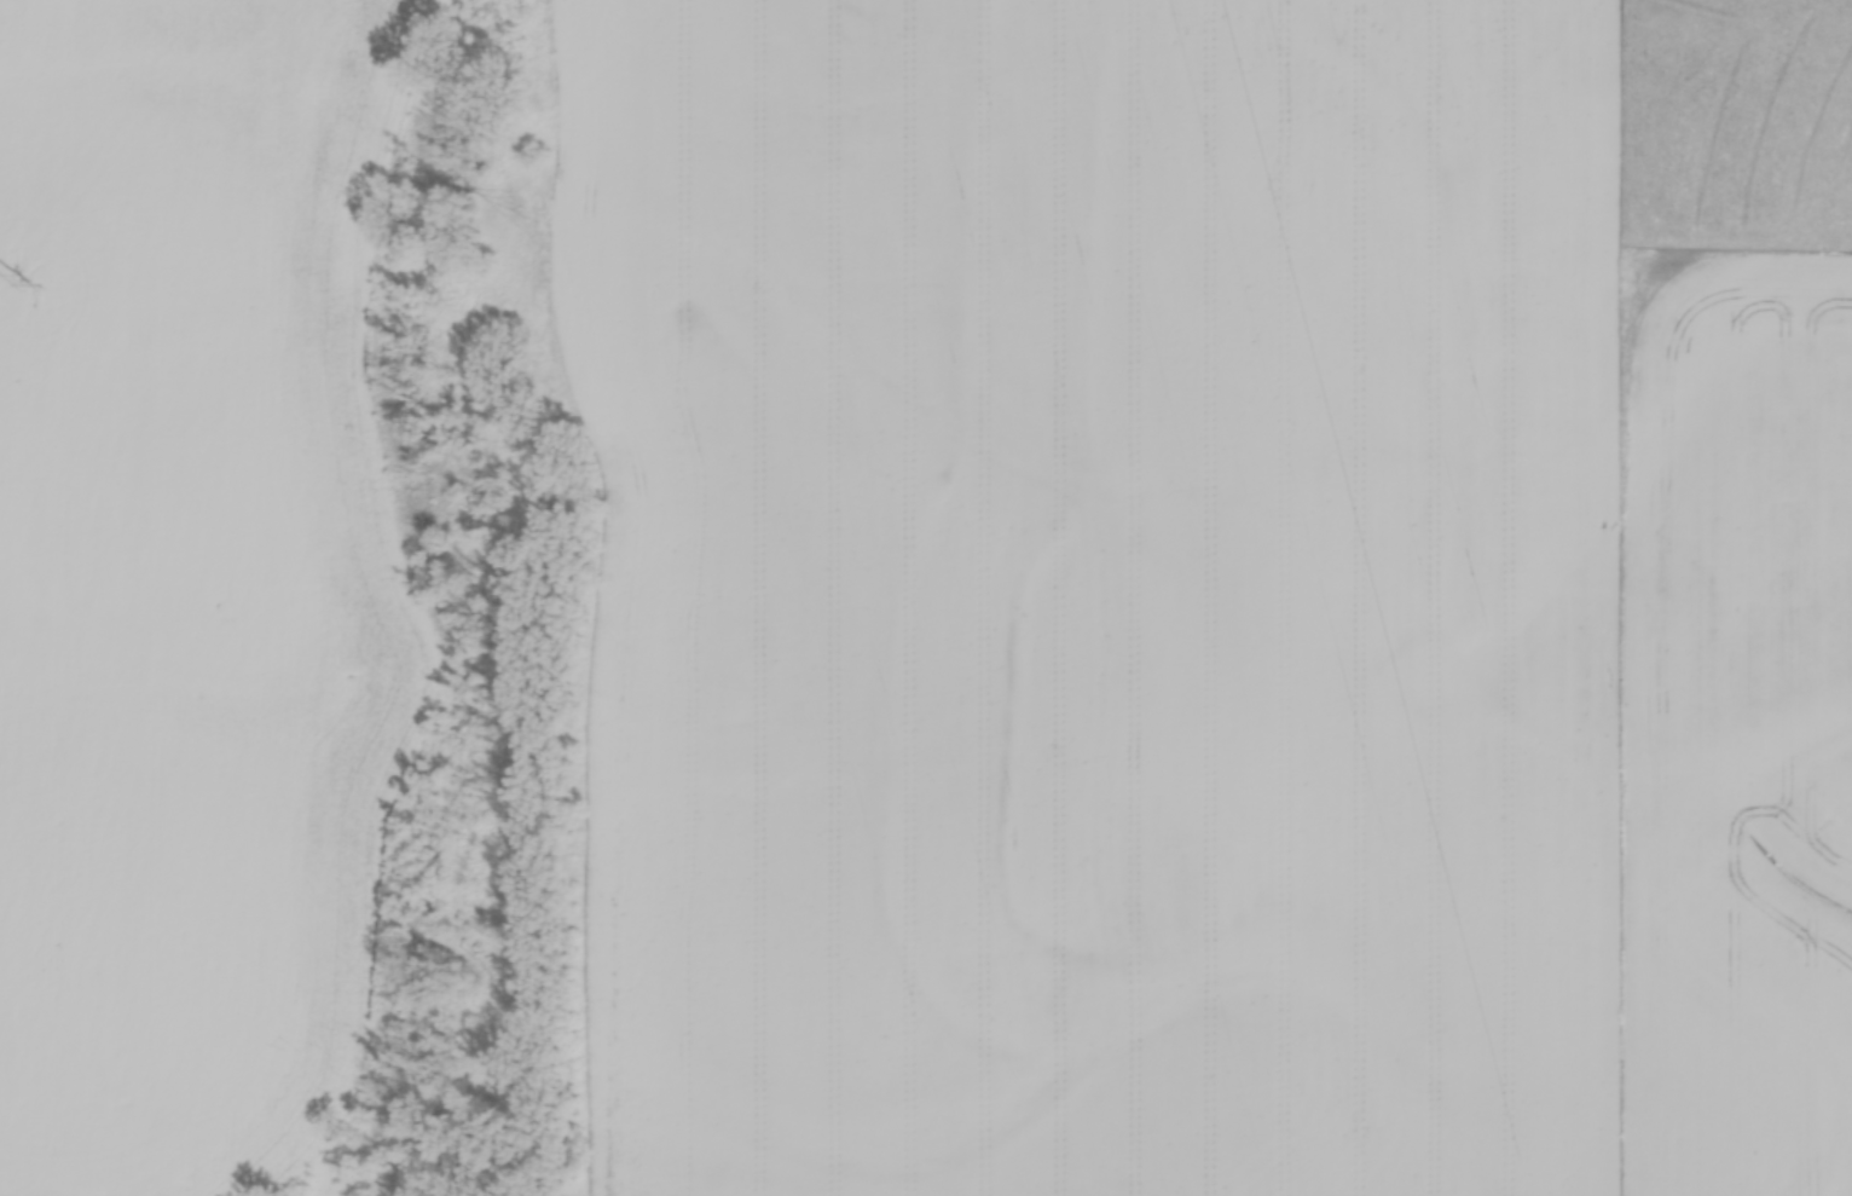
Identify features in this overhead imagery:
power tower: (23, 284)

